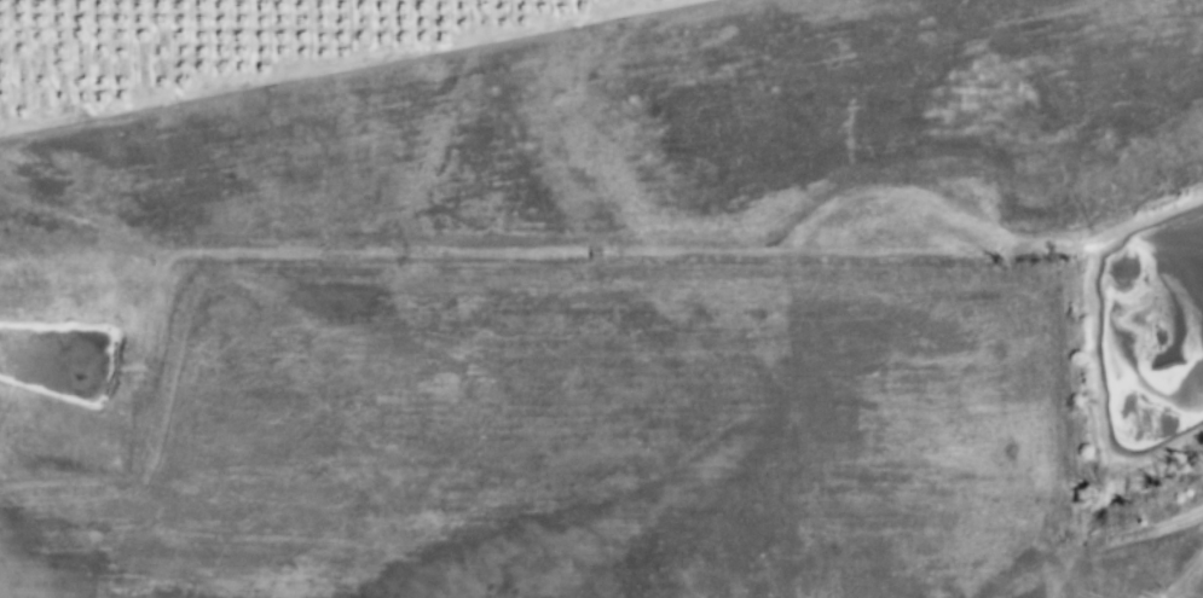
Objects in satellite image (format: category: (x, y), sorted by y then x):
road: (1193, 559)

